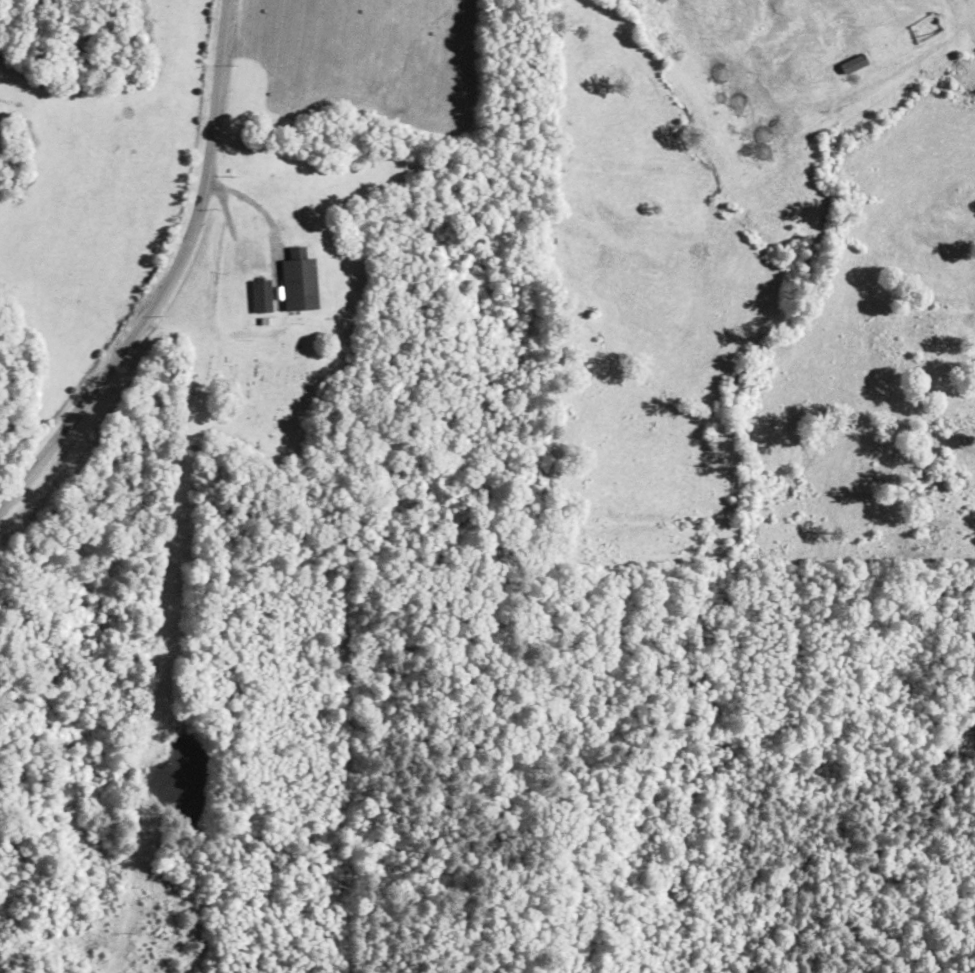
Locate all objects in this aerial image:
building: (853, 66)
road: (122, 221)
building: (299, 283)

